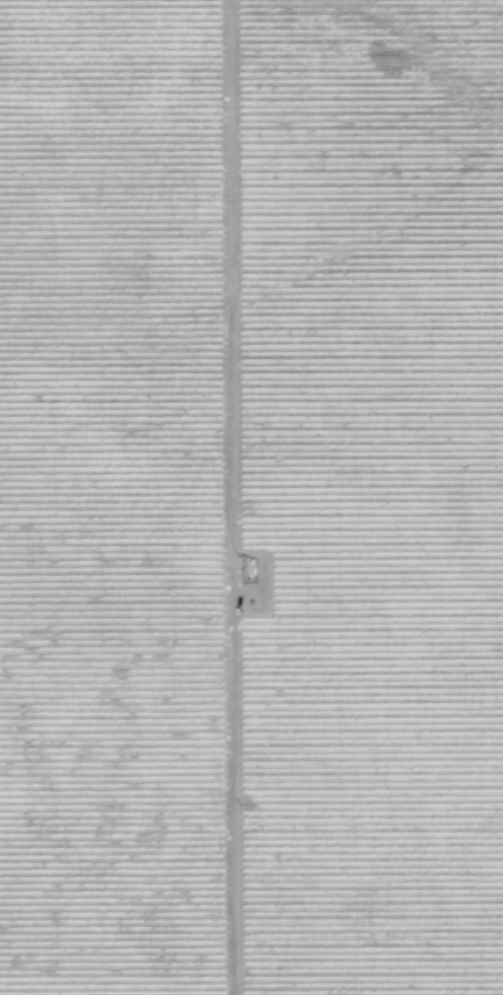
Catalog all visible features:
crop: (251, 497)

